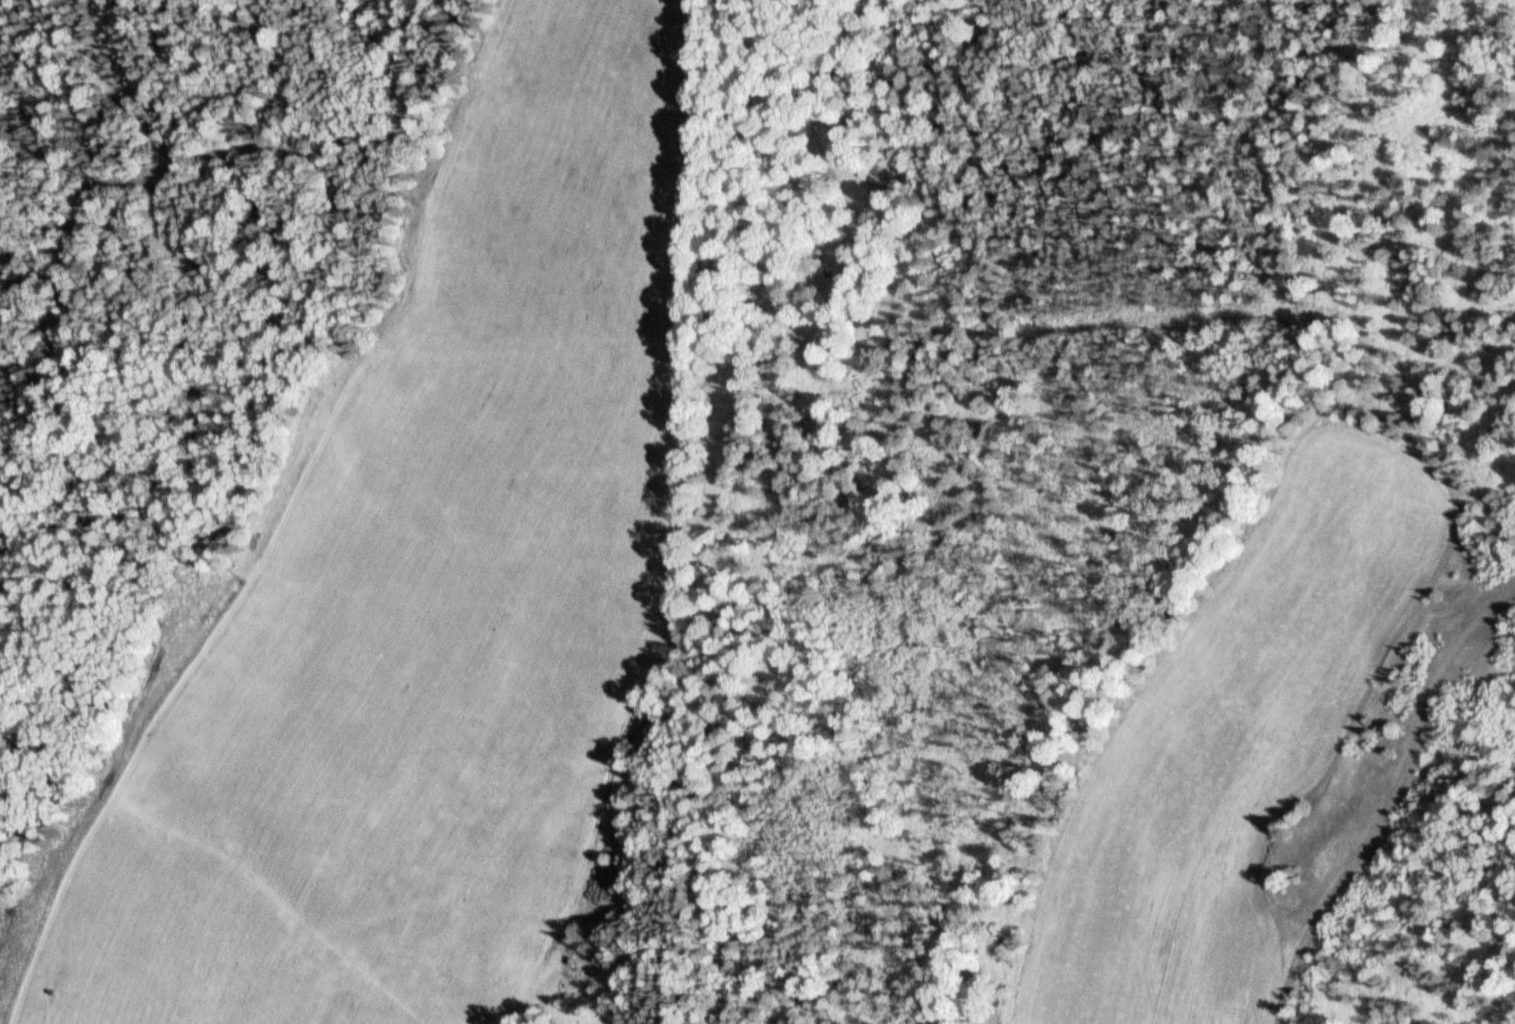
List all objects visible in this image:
road: (847, 77)
building: (836, 136)
building: (876, 180)
road: (1399, 800)

